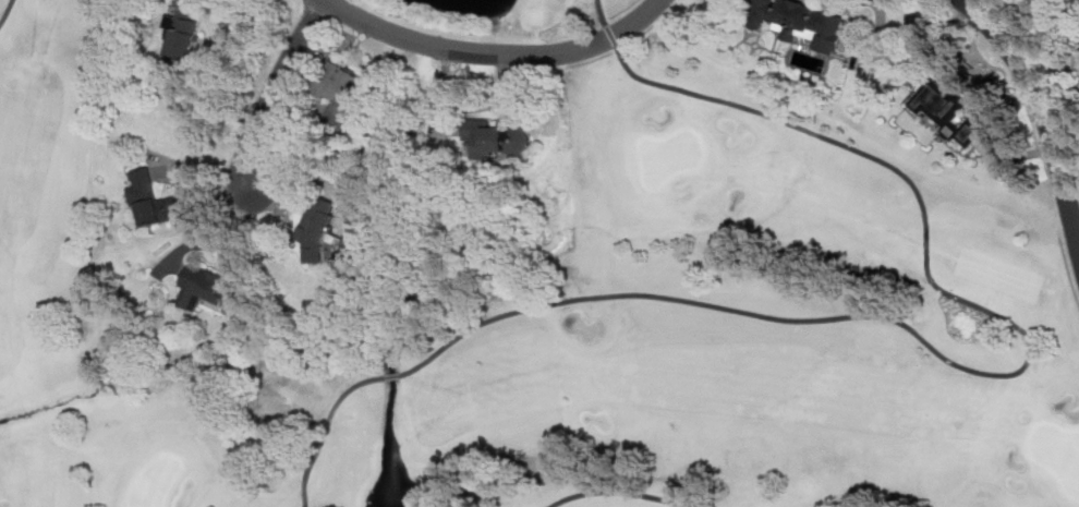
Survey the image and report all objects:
road: (5, 10)
building: (800, 22)
building: (184, 29)
road: (878, 31)
road: (494, 51)
building: (340, 83)
road: (274, 89)
building: (947, 110)
road: (1050, 121)
park: (670, 155)
building: (153, 198)
building: (205, 288)
park: (578, 316)
road: (1007, 373)
road: (392, 376)
road: (324, 426)
park: (1058, 451)
park: (157, 482)
road: (619, 491)

